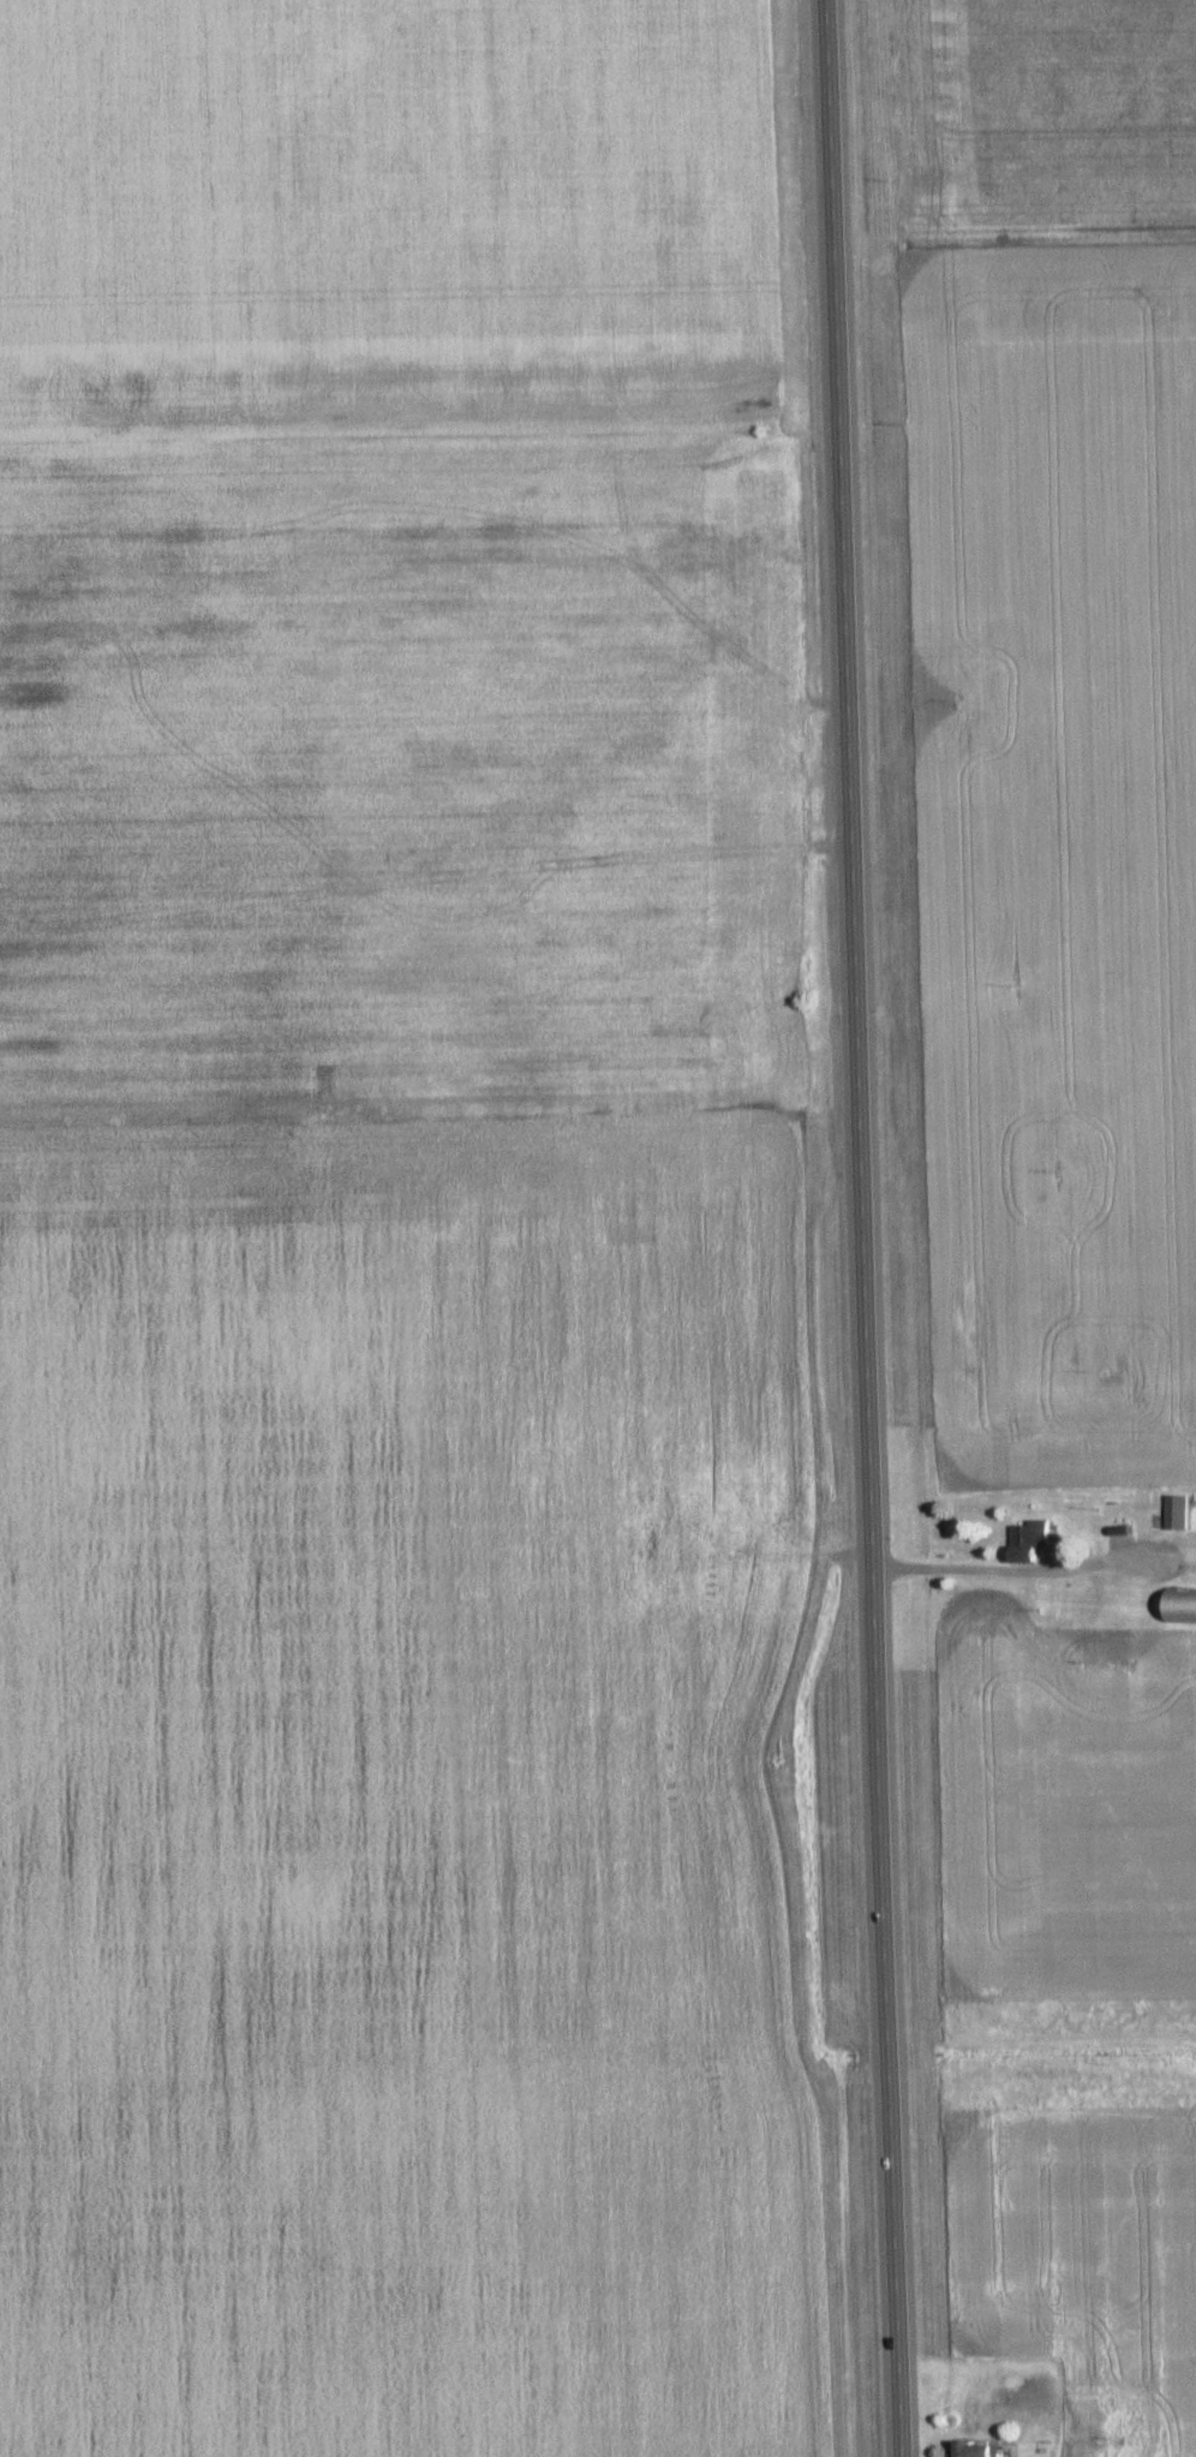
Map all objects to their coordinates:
road: (857, 1228)
building: (1174, 1513)
building: (1030, 1535)
road: (1010, 1572)
building: (975, 2450)

